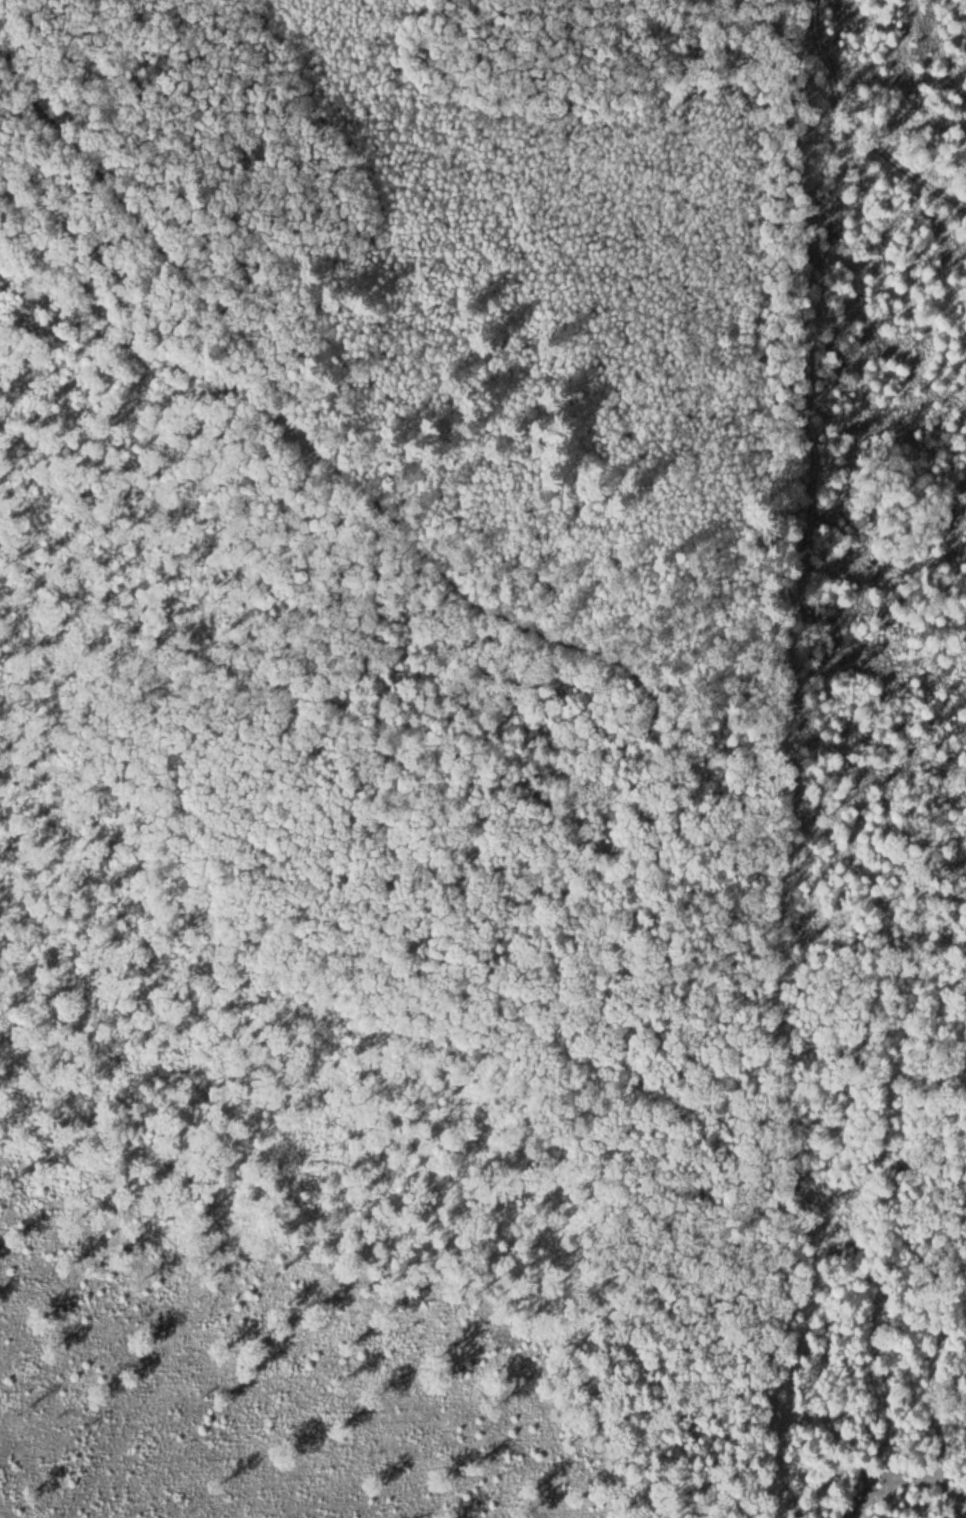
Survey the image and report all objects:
road: (175, 250)
road: (163, 348)
road: (519, 733)

